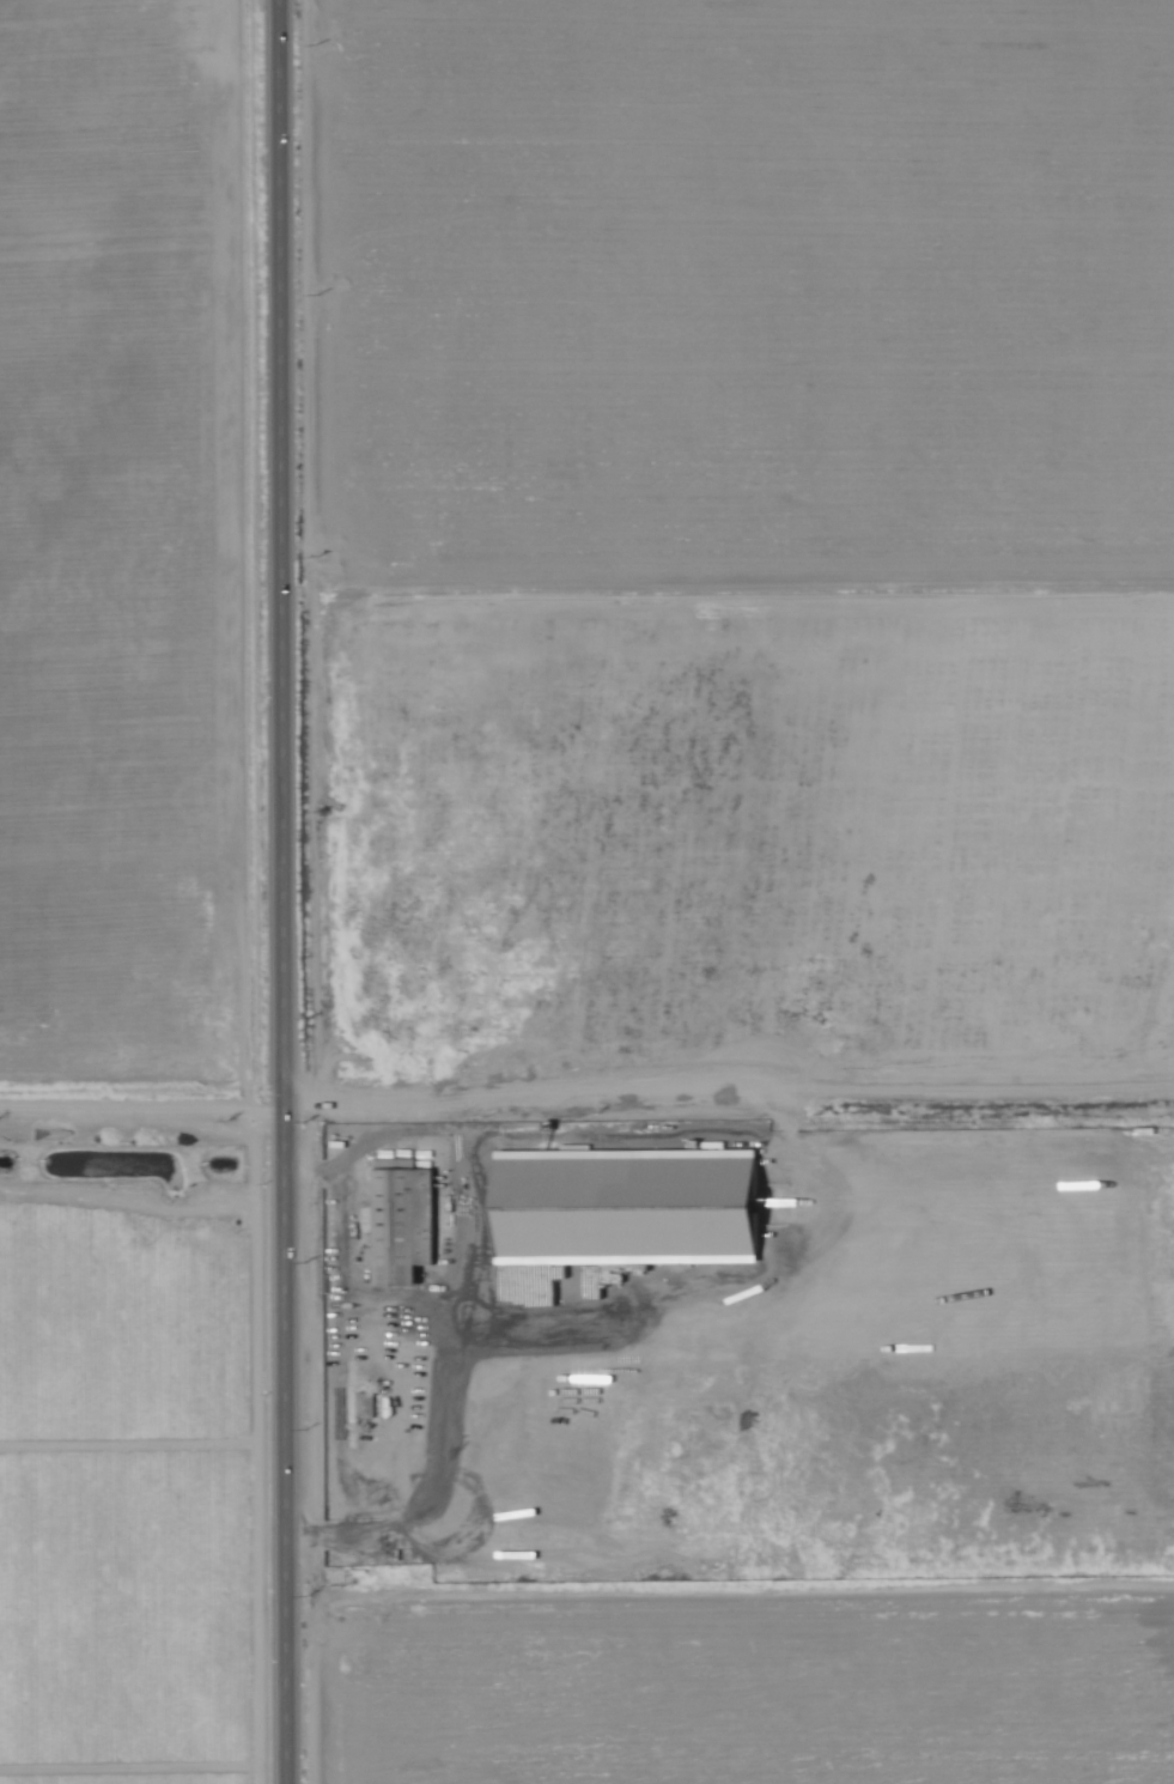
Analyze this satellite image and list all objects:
road: (288, 891)
road: (145, 1116)
building: (631, 1207)
building: (402, 1222)
road: (443, 1336)
building: (361, 1406)

